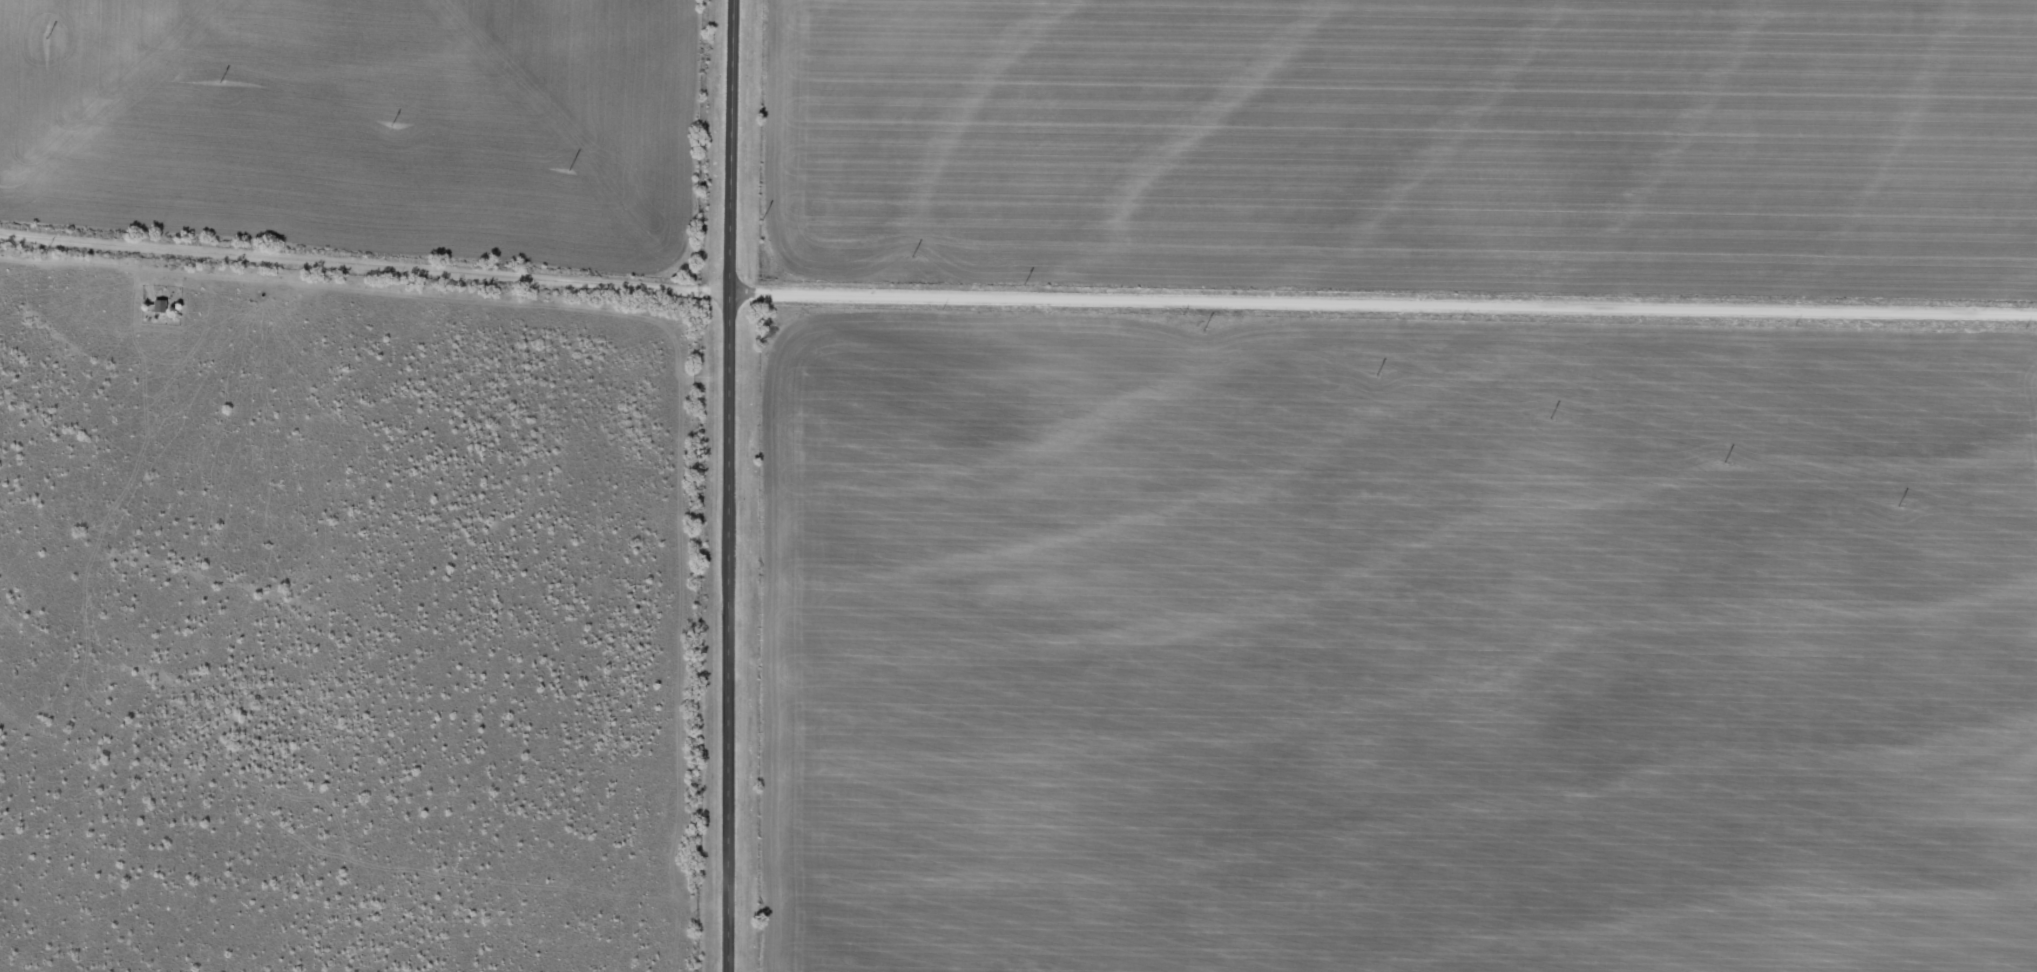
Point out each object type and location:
road: (367, 262)
road: (1385, 301)
building: (159, 307)
road: (733, 485)

